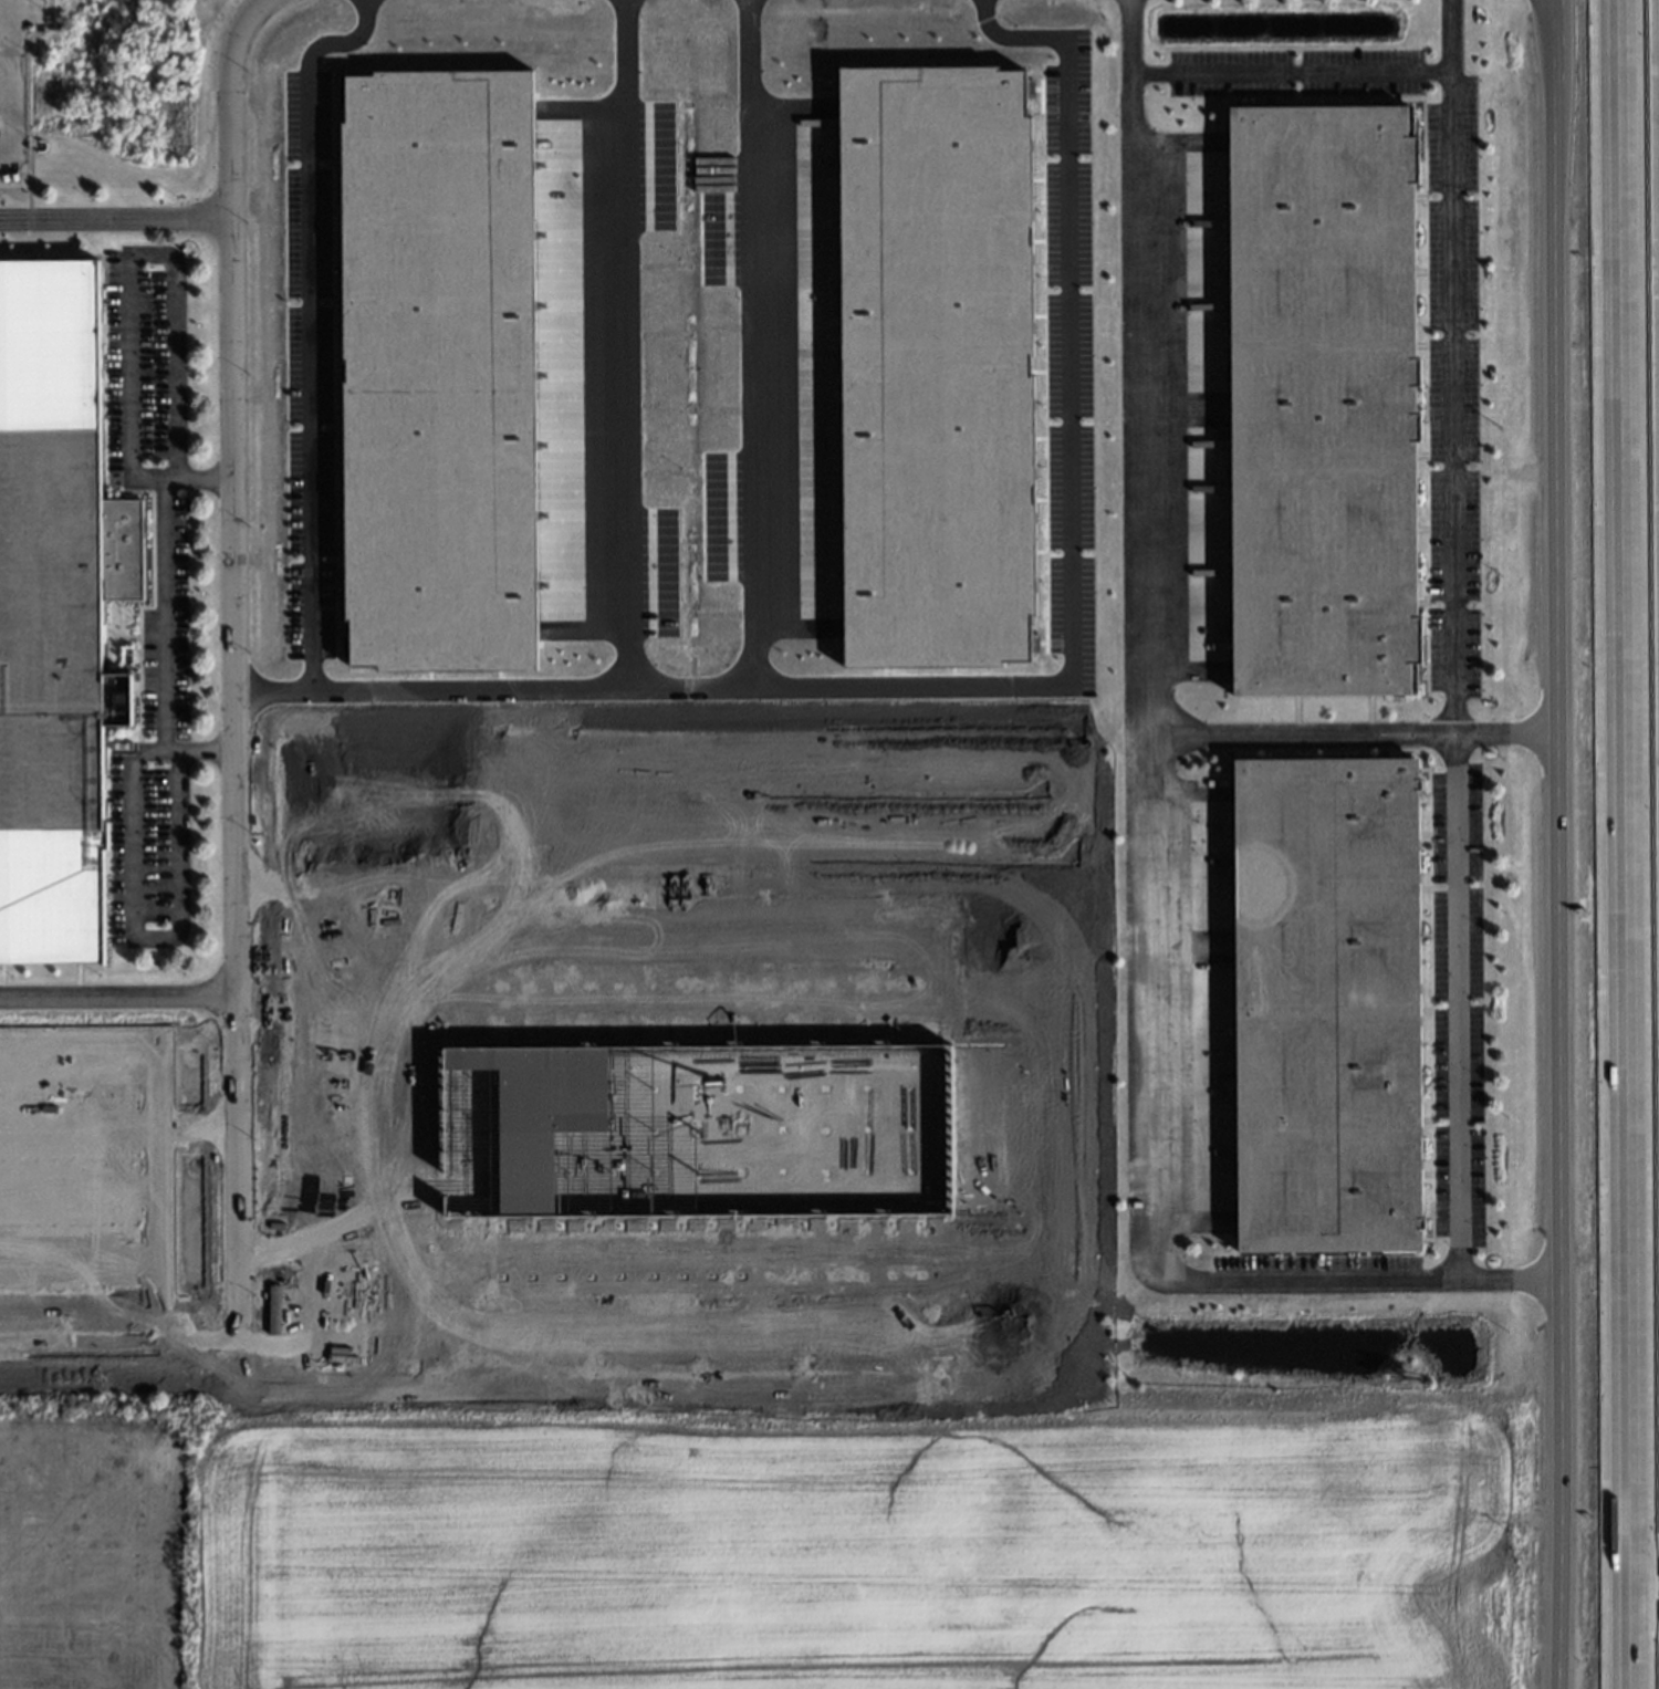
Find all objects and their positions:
road: (8, 10)
road: (17, 76)
road: (1301, 76)
road: (9, 77)
road: (115, 217)
road: (131, 256)
road: (751, 344)
building: (49, 352)
parking lot: (142, 353)
road: (306, 361)
building: (937, 365)
road: (1150, 365)
road: (1457, 368)
building: (441, 369)
parking lot: (1459, 396)
building: (1319, 403)
road: (625, 498)
road: (1070, 541)
road: (157, 615)
parking lot: (160, 619)
building: (52, 632)
road: (233, 670)
road: (1023, 757)
road: (1156, 836)
road: (1564, 844)
road: (1624, 844)
parking lot: (139, 853)
building: (55, 898)
road: (128, 938)
road: (354, 962)
road: (117, 993)
parking lot: (1461, 1001)
road: (354, 1009)
building: (1324, 1009)
road: (1460, 1009)
road: (355, 1060)
road: (355, 1105)
road: (153, 1119)
road: (195, 1127)
road: (76, 1129)
road: (1082, 1139)
road: (356, 1153)
road: (77, 1191)
road: (356, 1202)
road: (357, 1252)
road: (271, 1253)
road: (77, 1258)
parking lot: (1322, 1275)
road: (1394, 1281)
road: (410, 1287)
road: (357, 1300)
road: (197, 1322)
road: (79, 1323)

